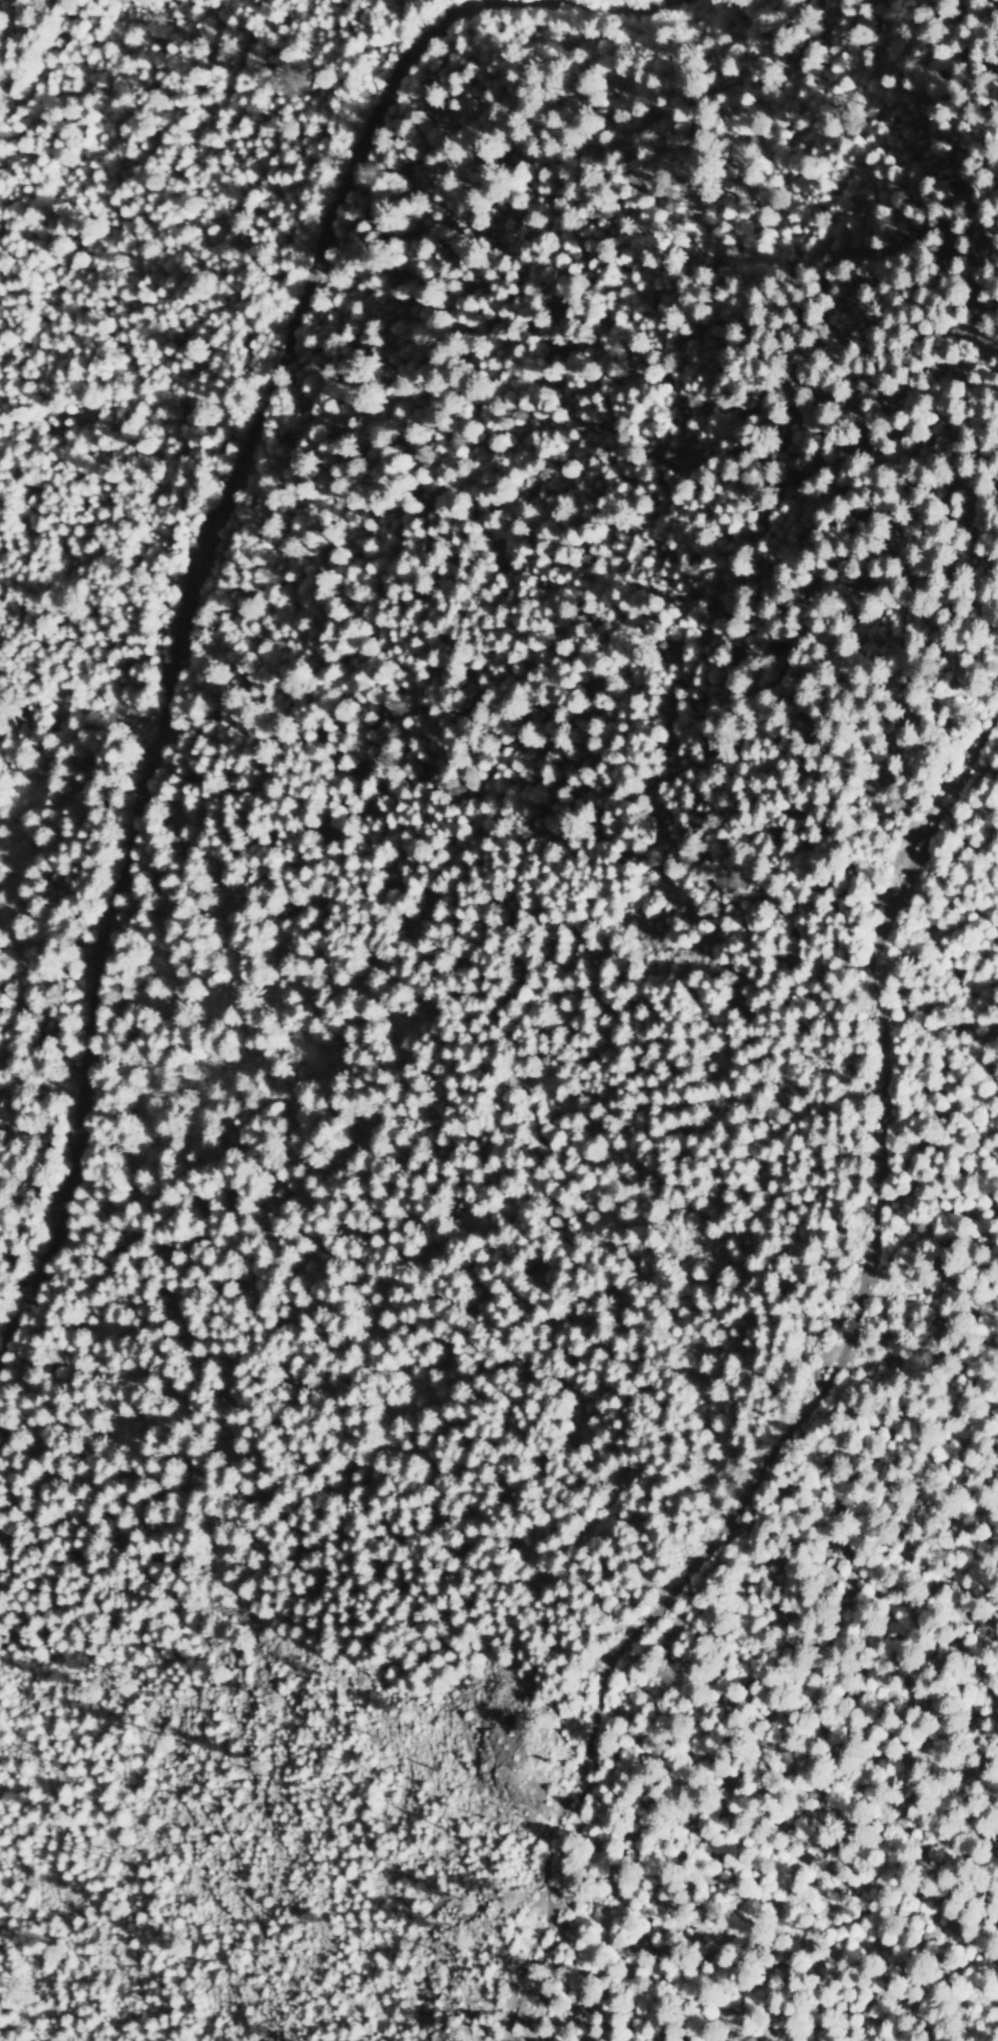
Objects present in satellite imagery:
road: (619, 7)
road: (176, 632)
road: (799, 1417)

